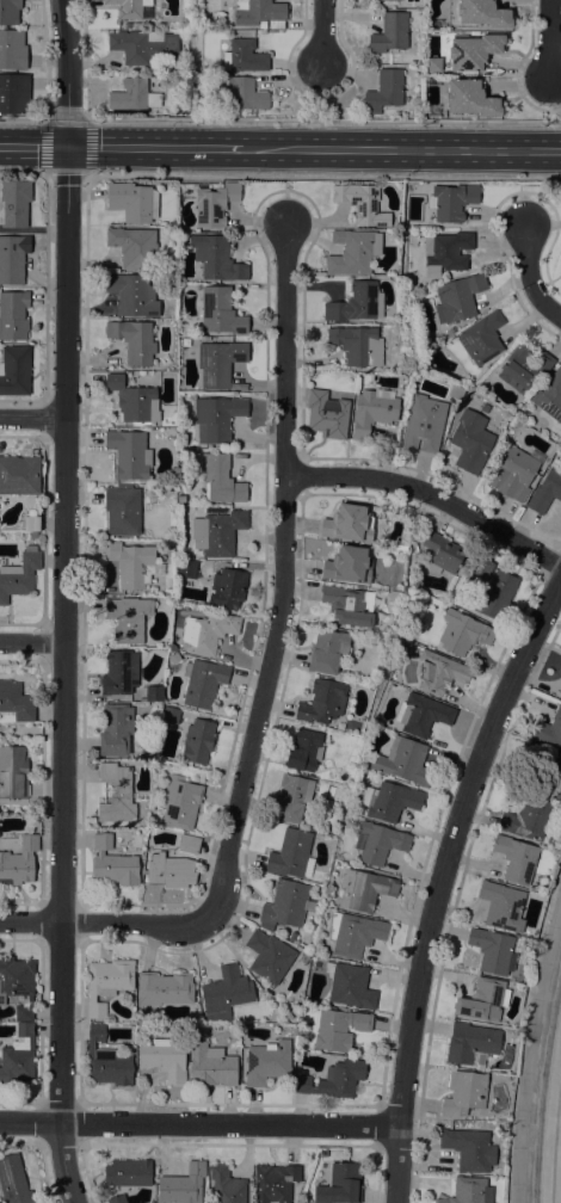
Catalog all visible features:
building: (129, 7)
building: (8, 12)
building: (259, 13)
building: (482, 13)
building: (218, 19)
building: (128, 25)
building: (136, 25)
building: (263, 25)
building: (390, 32)
road: (321, 33)
road: (549, 42)
building: (146, 47)
building: (12, 50)
building: (473, 51)
building: (243, 56)
building: (384, 91)
building: (13, 93)
building: (245, 94)
road: (320, 94)
building: (134, 95)
building: (470, 98)
road: (549, 103)
road: (23, 118)
road: (203, 118)
road: (439, 122)
road: (33, 147)
traffic signals: (68, 147)
road: (156, 147)
road: (403, 150)
road: (24, 171)
road: (47, 173)
road: (322, 177)
road: (285, 200)
building: (132, 202)
building: (451, 202)
building: (14, 203)
building: (214, 204)
building: (362, 204)
building: (134, 246)
building: (353, 252)
building: (445, 252)
building: (12, 258)
building: (216, 258)
road: (528, 273)
building: (132, 295)
building: (457, 297)
building: (356, 303)
building: (220, 311)
building: (13, 315)
building: (450, 331)
building: (481, 338)
building: (134, 340)
building: (357, 345)
building: (220, 362)
building: (523, 368)
building: (14, 370)
building: (456, 391)
building: (550, 396)
building: (134, 400)
building: (372, 411)
building: (327, 415)
building: (217, 418)
road: (33, 420)
building: (424, 424)
building: (471, 442)
building: (129, 454)
building: (512, 474)
building: (19, 475)
building: (218, 477)
building: (545, 492)
road: (431, 494)
building: (180, 499)
building: (122, 510)
building: (346, 523)
building: (31, 524)
building: (218, 532)
building: (33, 535)
building: (171, 544)
building: (442, 553)
building: (131, 563)
building: (349, 566)
building: (482, 567)
building: (186, 569)
building: (19, 575)
building: (227, 590)
building: (498, 594)
road: (67, 601)
building: (347, 606)
building: (128, 618)
building: (208, 633)
building: (463, 633)
road: (33, 643)
road: (272, 647)
building: (328, 652)
building: (174, 659)
building: (560, 671)
building: (119, 672)
building: (439, 672)
building: (203, 683)
building: (154, 692)
building: (16, 702)
building: (323, 702)
building: (171, 715)
building: (423, 715)
building: (115, 729)
building: (548, 730)
building: (197, 741)
building: (304, 751)
building: (403, 761)
building: (13, 772)
building: (544, 772)
building: (117, 794)
building: (291, 798)
building: (390, 801)
building: (180, 803)
building: (560, 815)
building: (528, 819)
building: (380, 843)
building: (190, 845)
building: (291, 855)
building: (516, 859)
building: (19, 863)
building: (113, 864)
building: (169, 871)
road: (440, 882)
building: (364, 889)
building: (284, 905)
building: (503, 906)
road: (31, 923)
building: (355, 934)
building: (493, 951)
building: (270, 957)
building: (107, 983)
building: (17, 985)
building: (350, 986)
building: (165, 988)
building: (226, 993)
building: (483, 1000)
building: (289, 1018)
building: (339, 1029)
building: (470, 1042)
building: (18, 1056)
building: (165, 1059)
building: (106, 1061)
building: (267, 1062)
building: (211, 1066)
building: (341, 1079)
building: (302, 1084)
building: (464, 1093)
road: (29, 1122)
road: (230, 1124)
building: (469, 1149)
building: (322, 1153)
road: (559, 1162)
building: (128, 1173)
building: (13, 1182)
building: (275, 1183)
building: (181, 1185)
building: (226, 1185)
building: (340, 1185)
building: (469, 1191)
building: (116, 1199)
building: (303, 1199)

